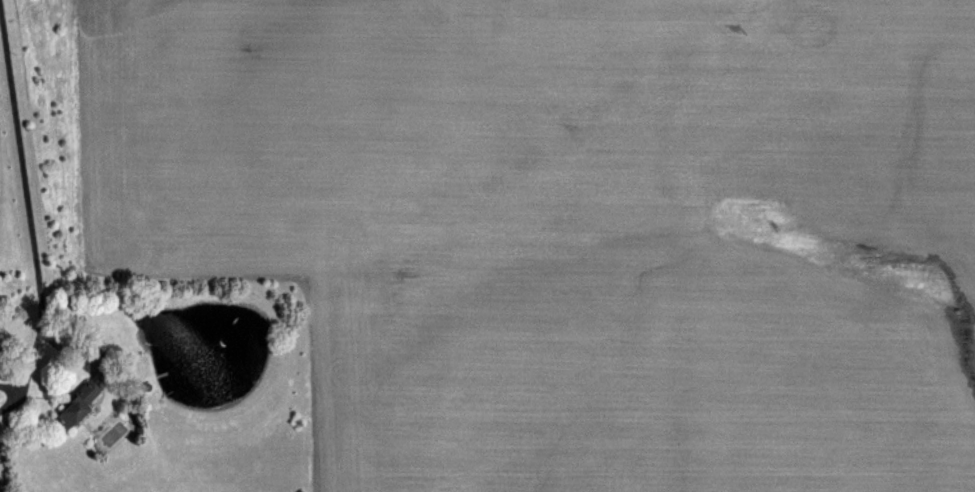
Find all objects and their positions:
road: (21, 212)
crop: (487, 246)
road: (11, 392)
building: (69, 405)

